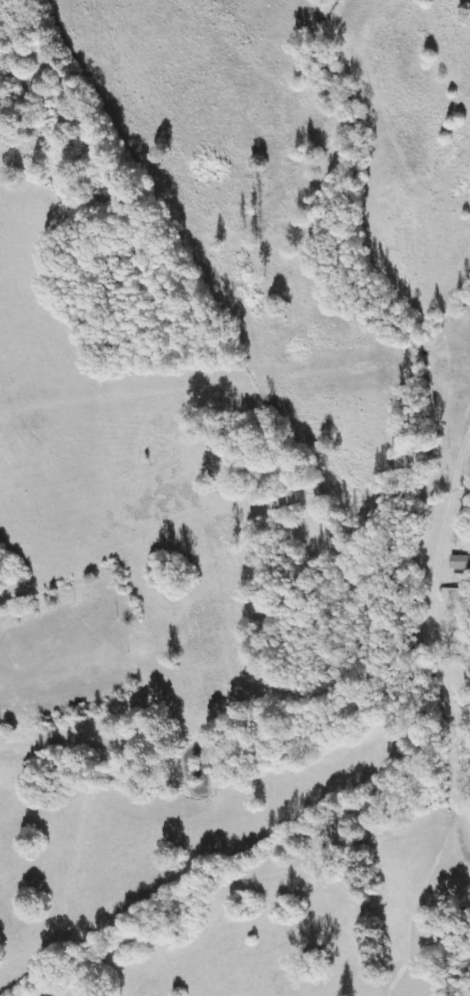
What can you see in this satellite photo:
building: (460, 562)

